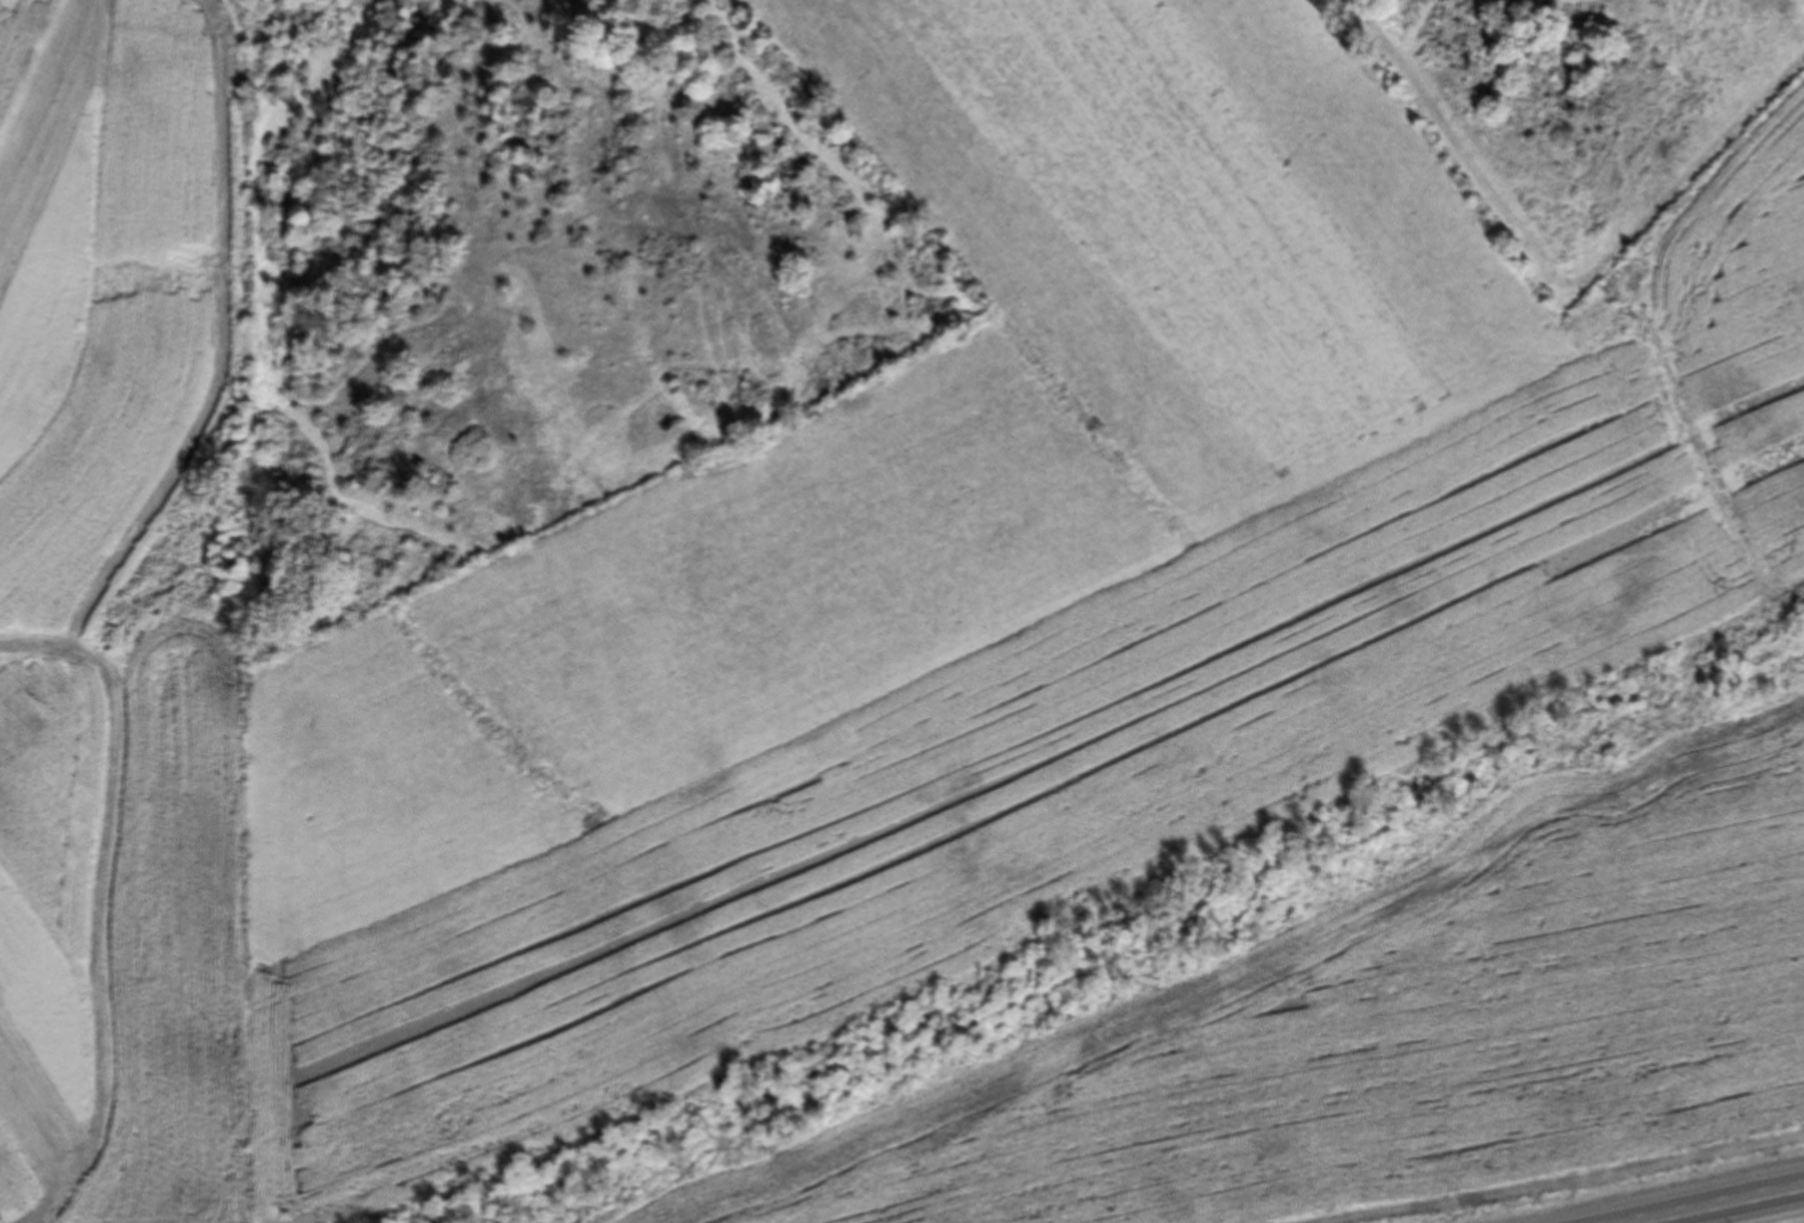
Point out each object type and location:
road: (1702, 1200)

